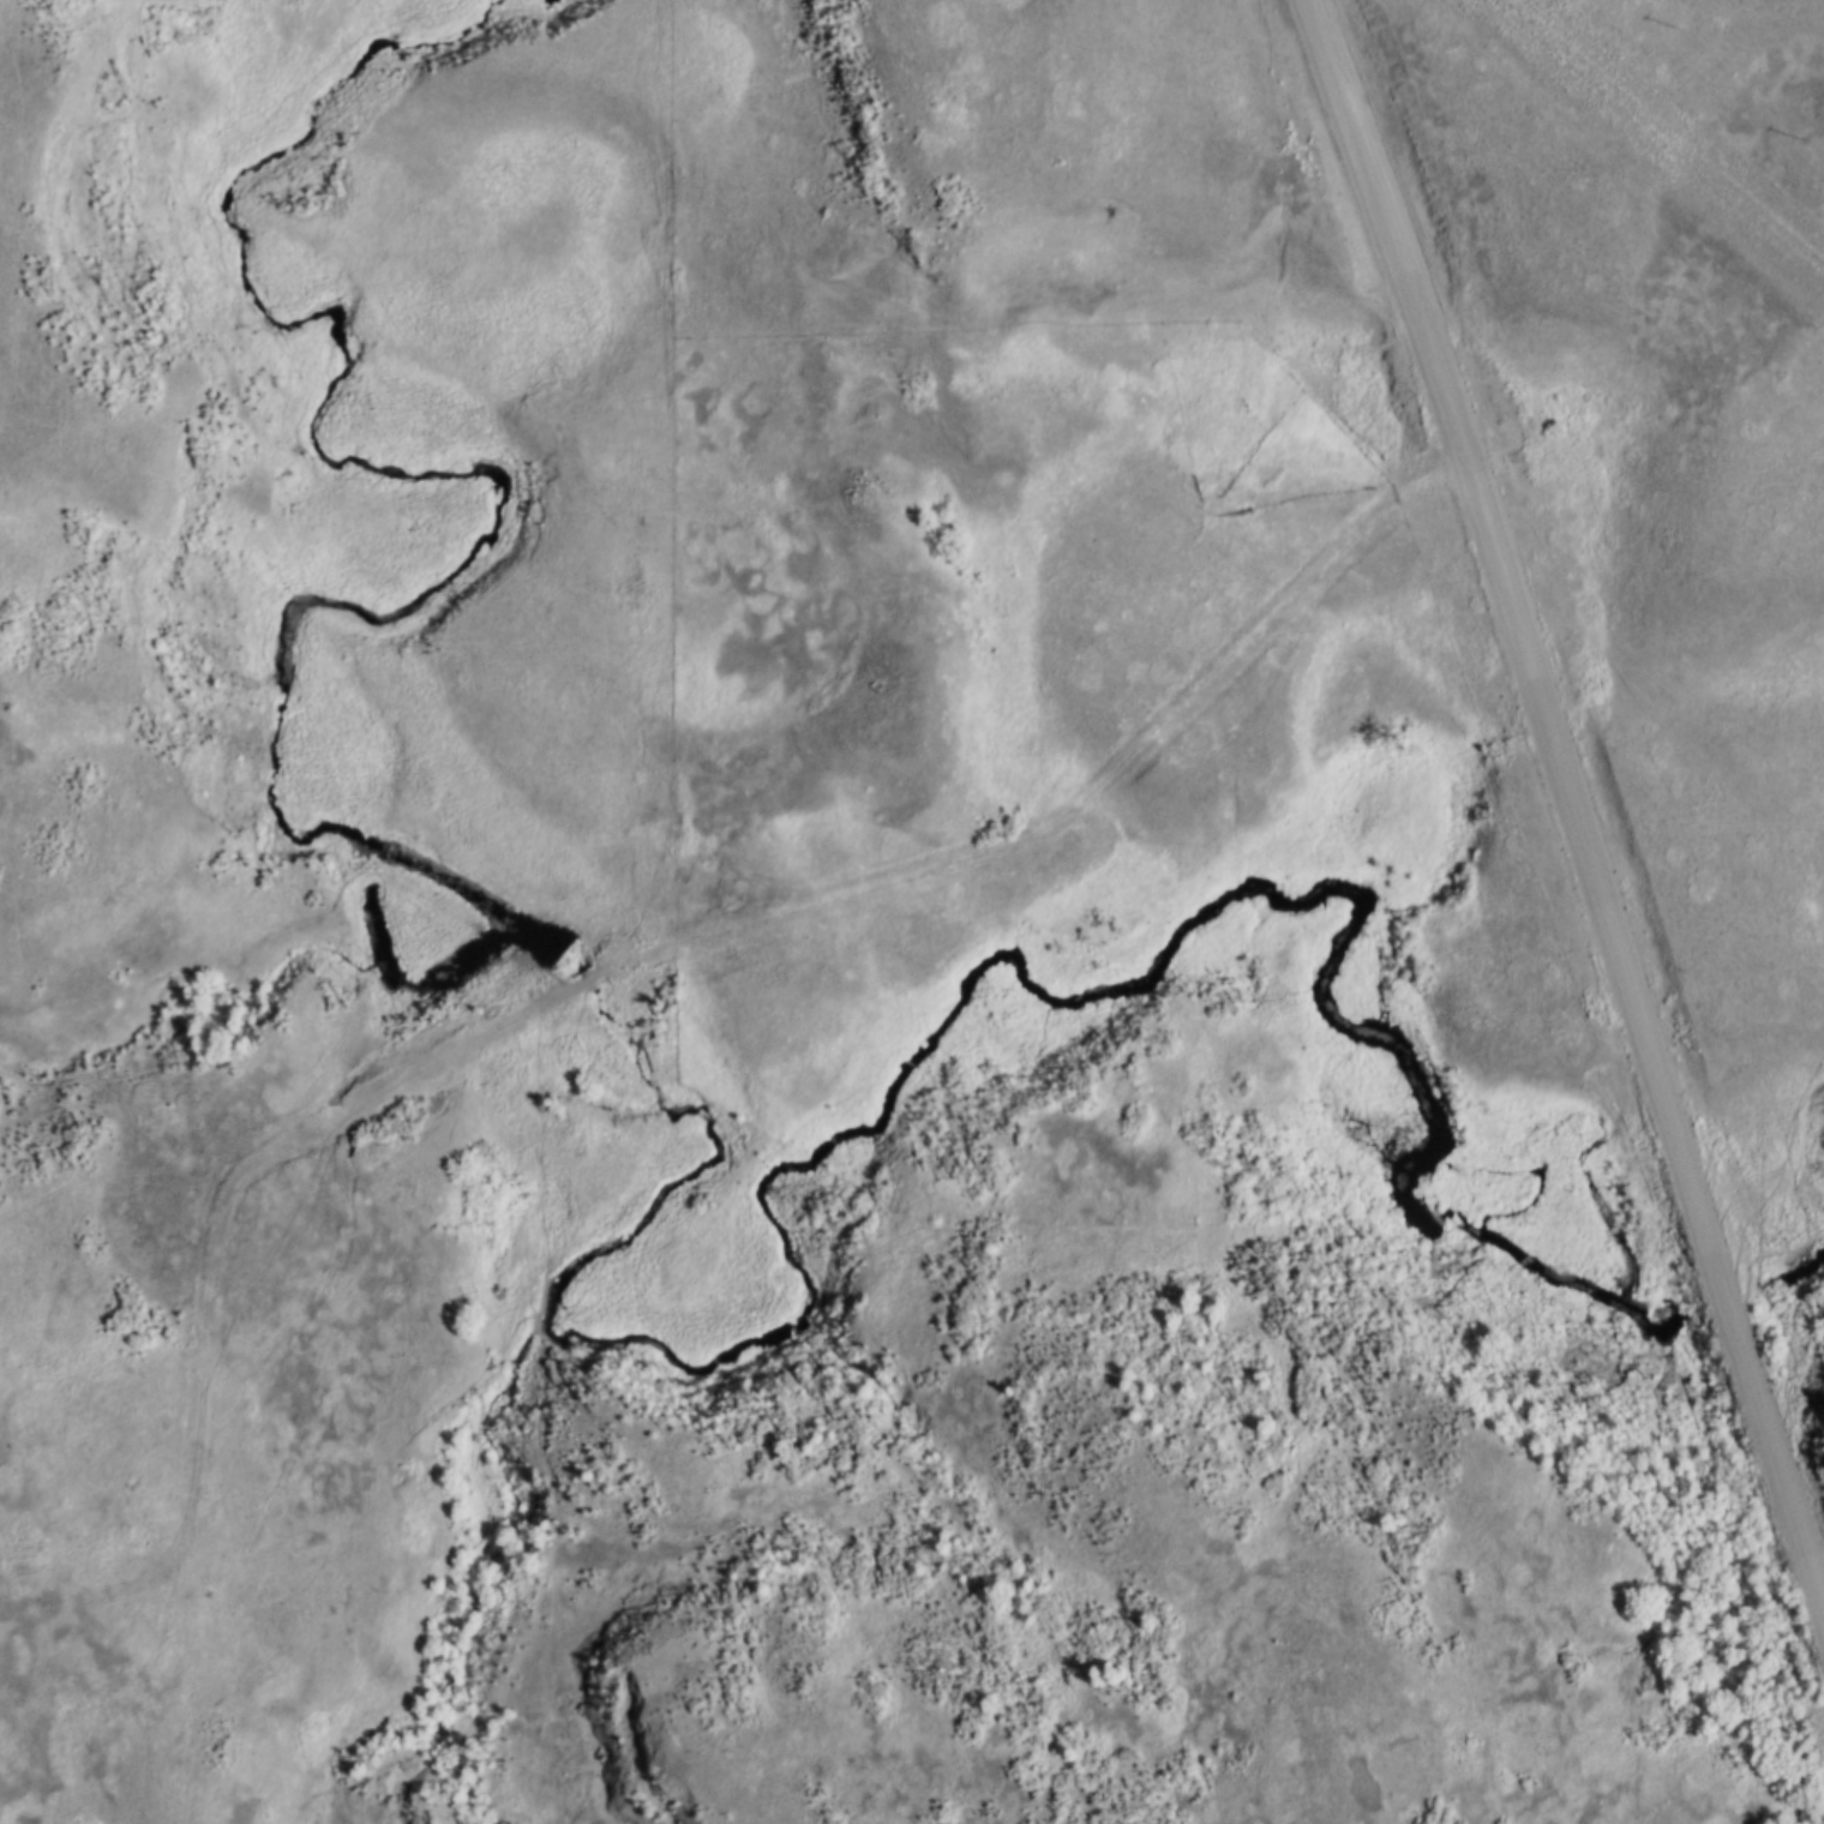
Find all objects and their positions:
road: (1574, 799)

